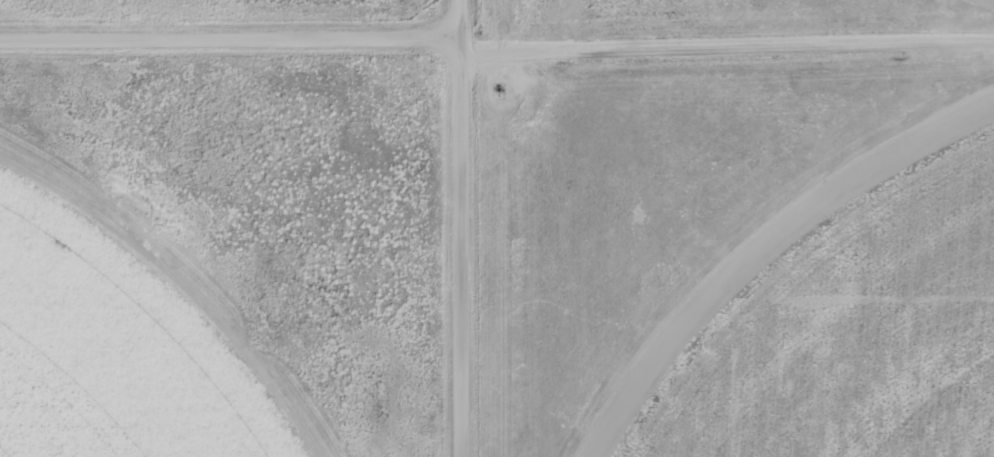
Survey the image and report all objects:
road: (230, 37)
road: (462, 228)

